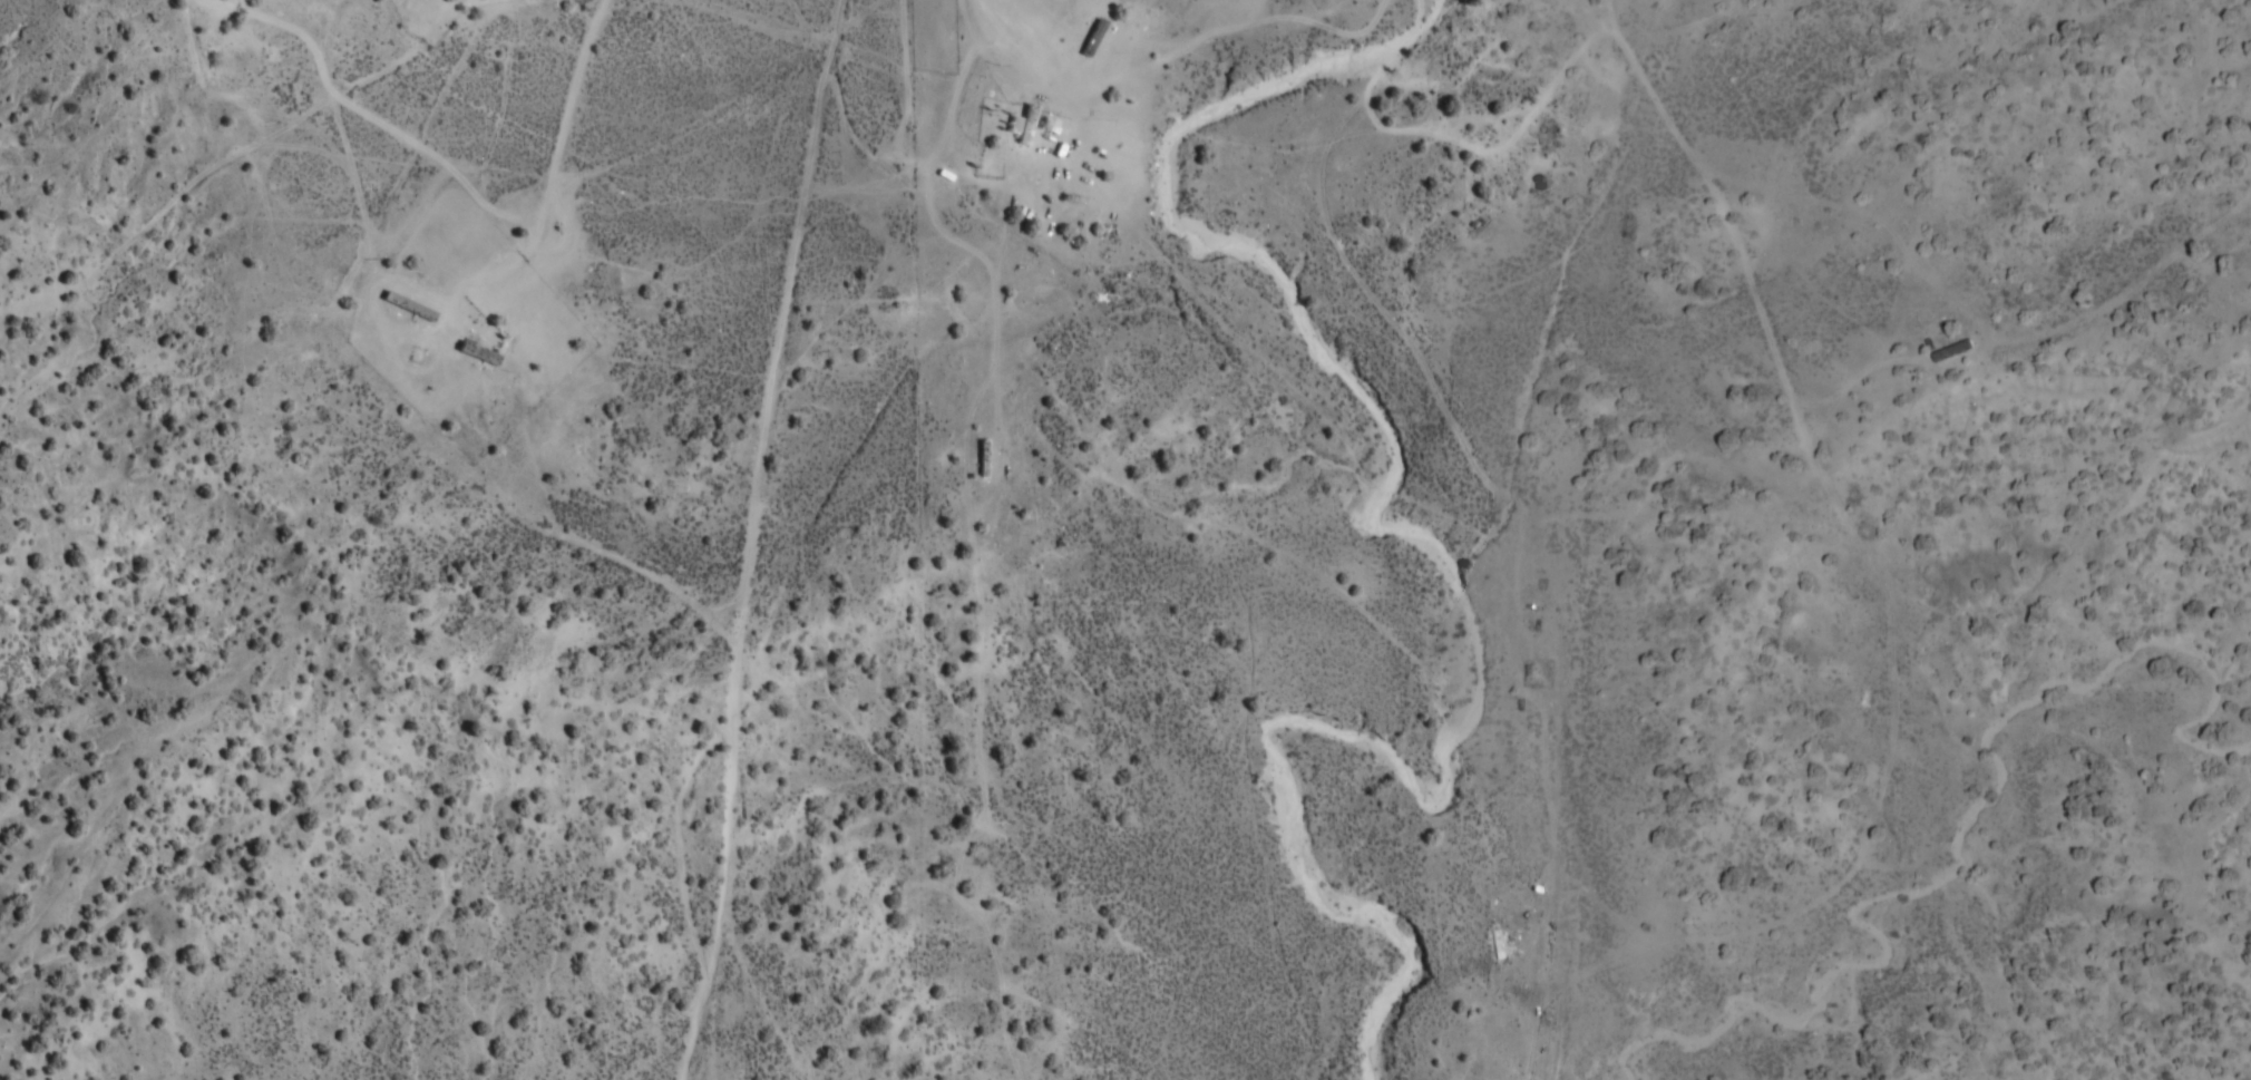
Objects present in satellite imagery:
road: (319, 11)
road: (427, 95)
road: (749, 538)

